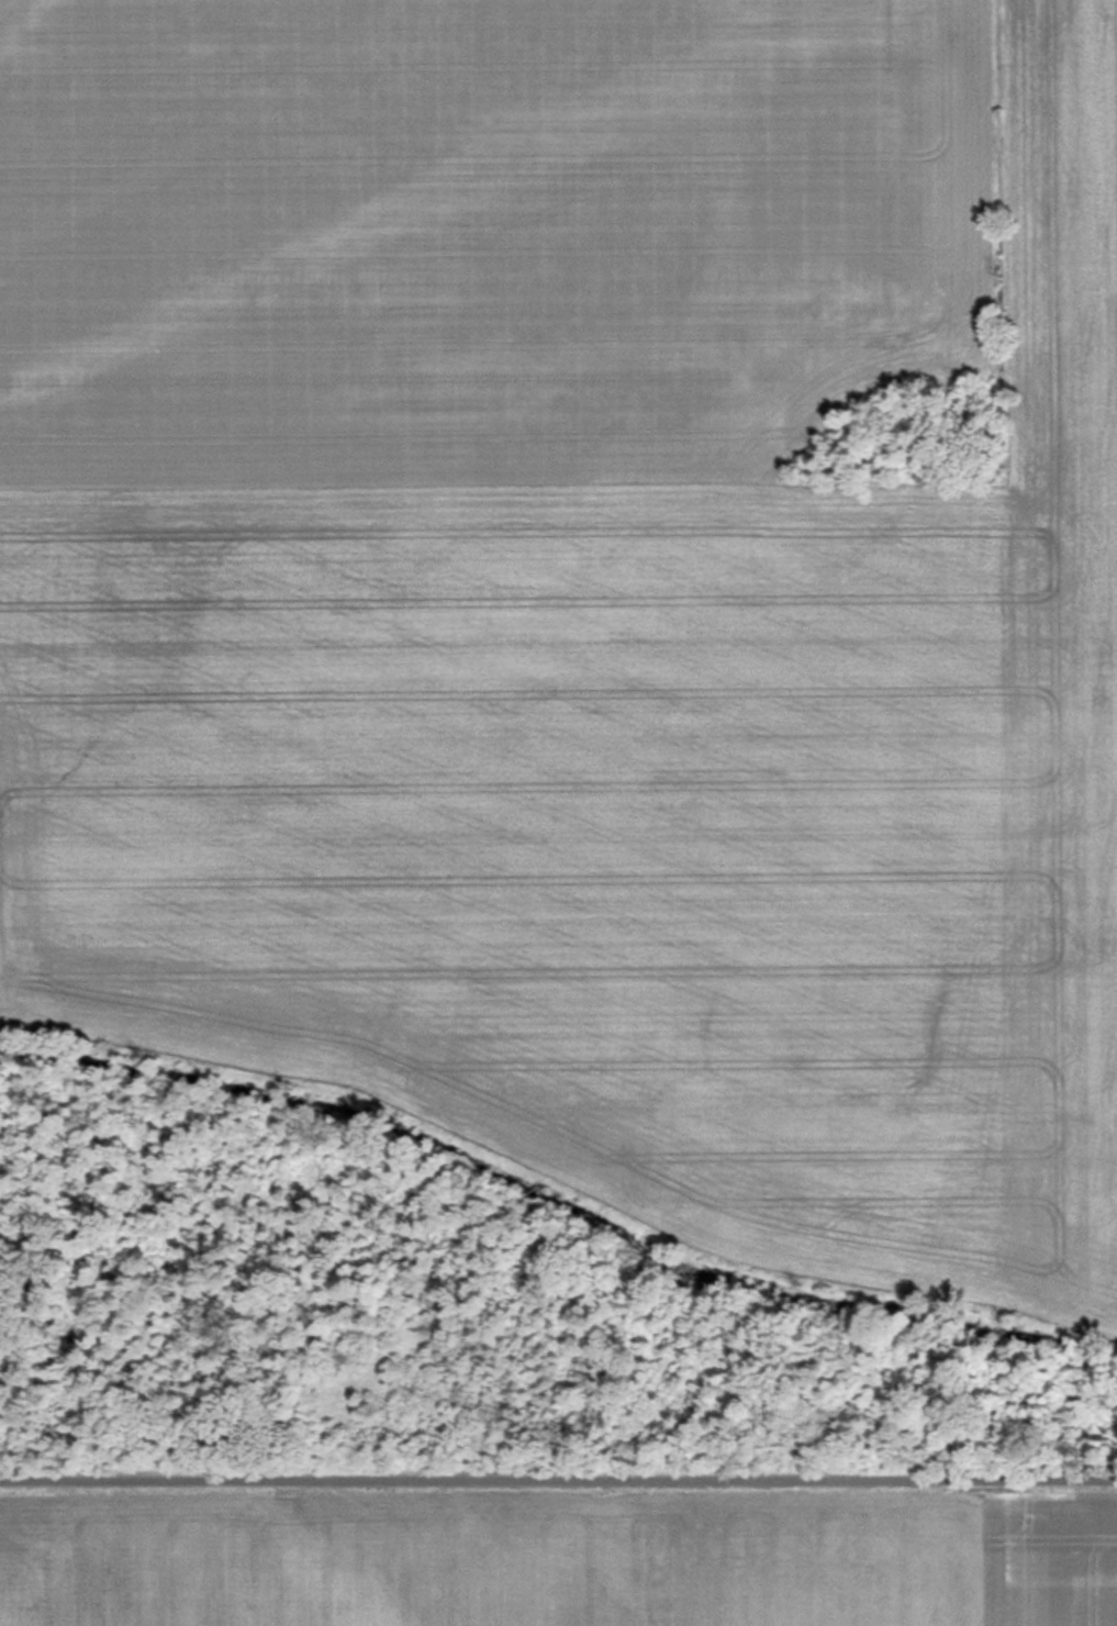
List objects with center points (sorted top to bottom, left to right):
road: (558, 1477)

